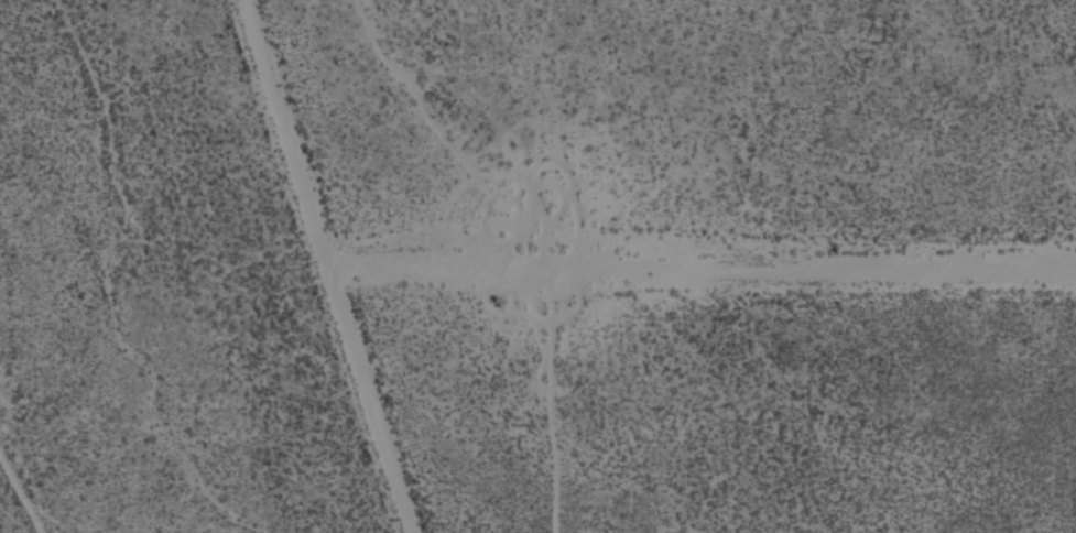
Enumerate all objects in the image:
road: (323, 266)

